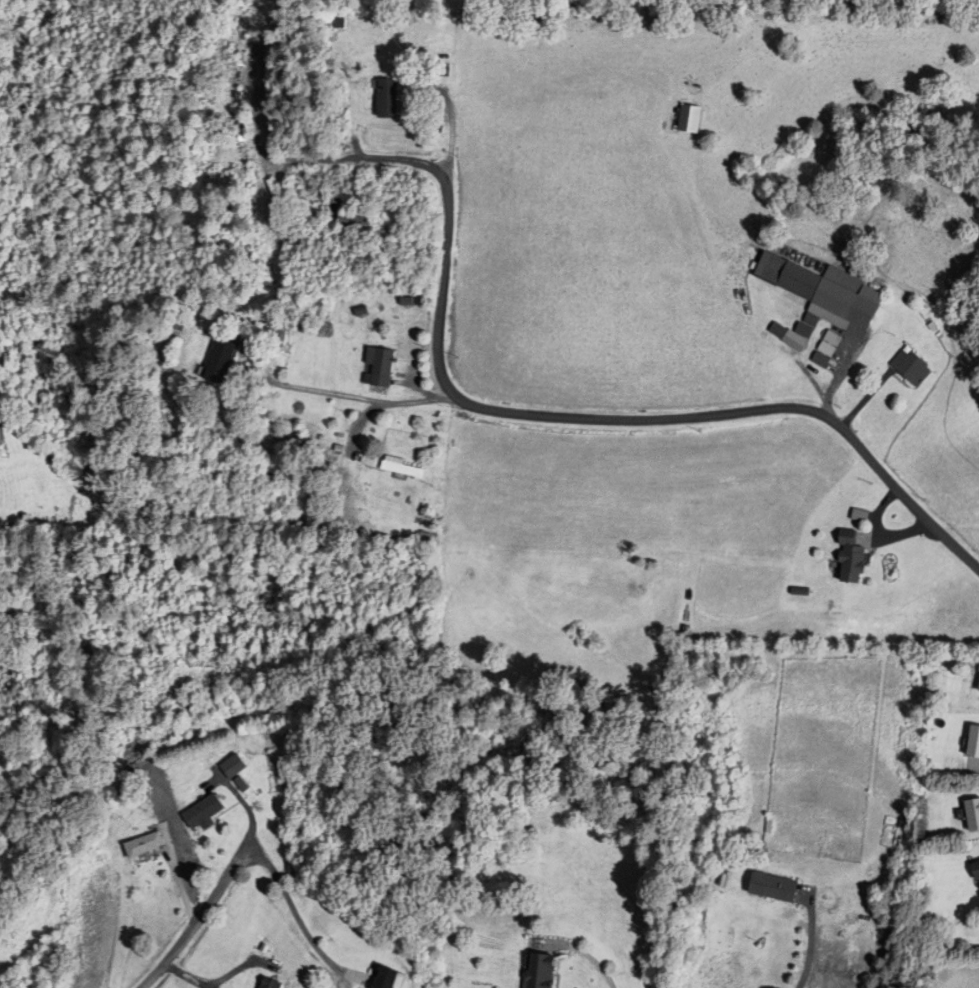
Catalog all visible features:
building: (389, 101)
building: (692, 120)
building: (241, 132)
building: (354, 224)
building: (828, 294)
building: (277, 332)
building: (223, 364)
building: (380, 367)
building: (916, 370)
road: (361, 401)
road: (559, 418)
building: (401, 468)
building: (854, 561)
building: (975, 741)
building: (235, 766)
building: (206, 812)
building: (974, 815)
building: (146, 845)
building: (978, 876)
building: (776, 887)
road: (295, 910)
road: (187, 936)
road: (809, 950)
building: (542, 971)
road: (189, 975)
building: (390, 978)
building: (273, 983)

